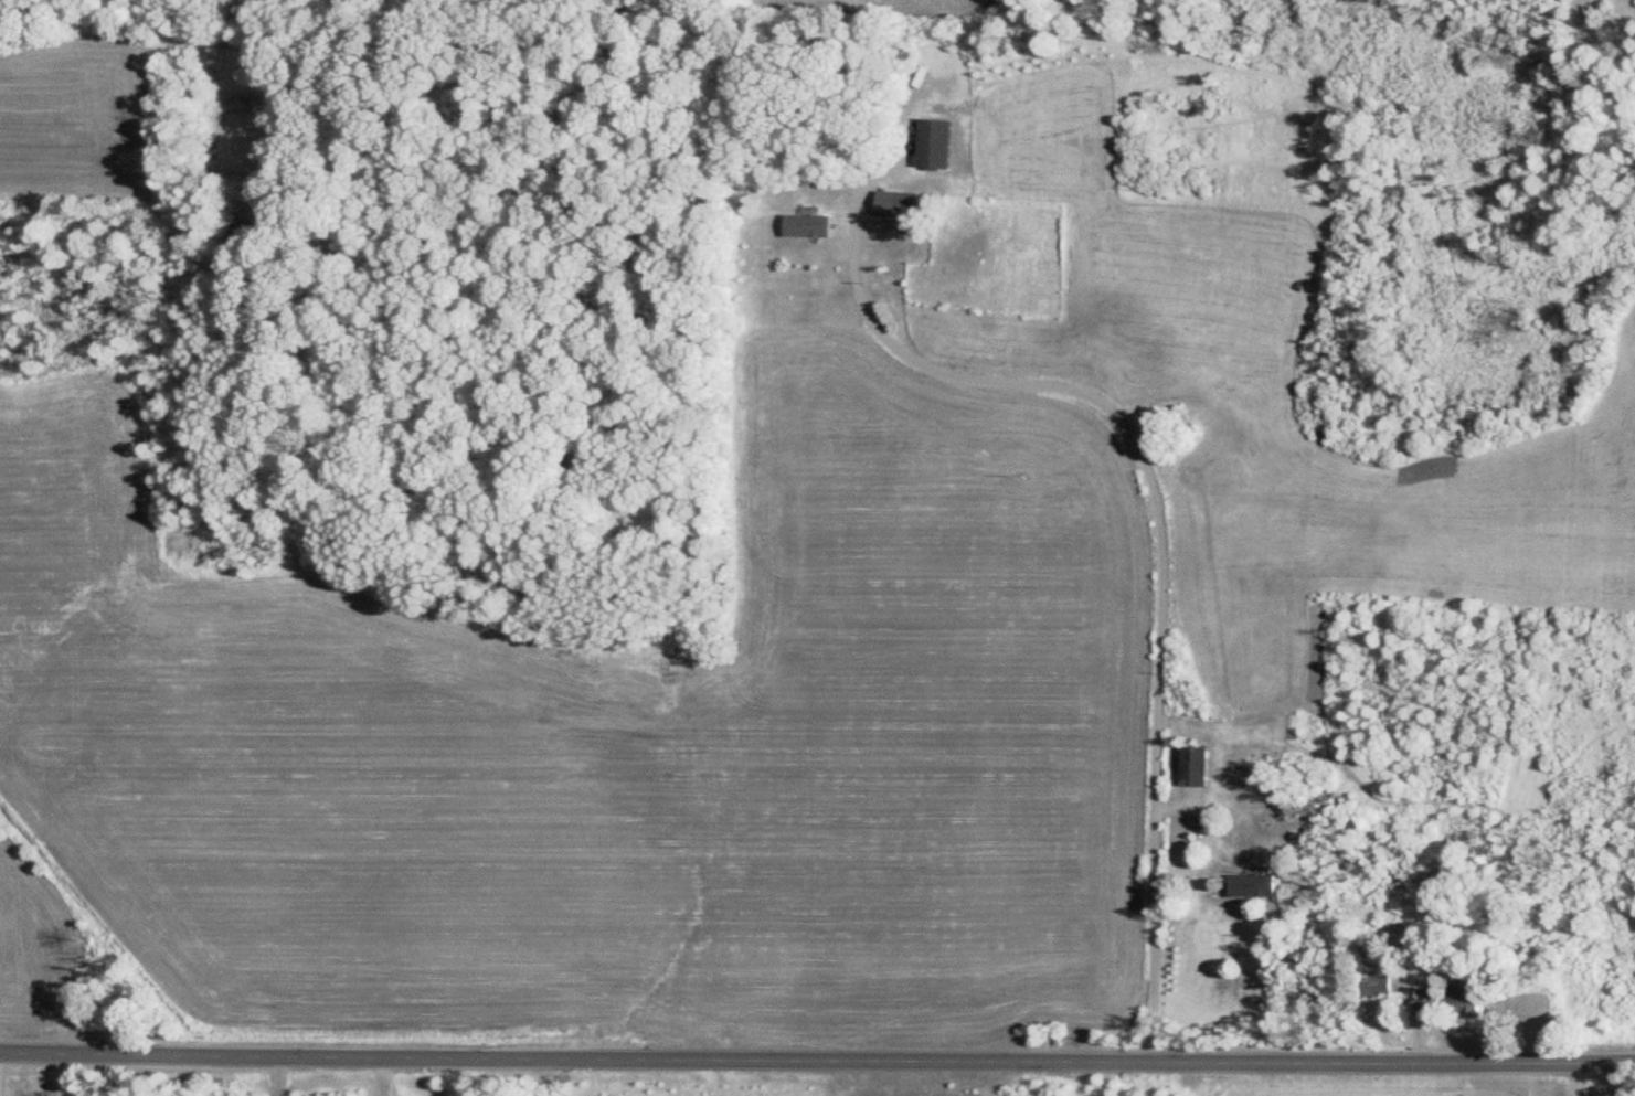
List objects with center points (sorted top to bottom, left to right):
building: (891, 204)
building: (804, 226)
road: (1154, 531)
building: (1190, 767)
building: (1248, 887)
building: (1373, 988)
building: (1457, 1007)
road: (817, 1054)
road: (380, 1076)
road: (1573, 1078)

